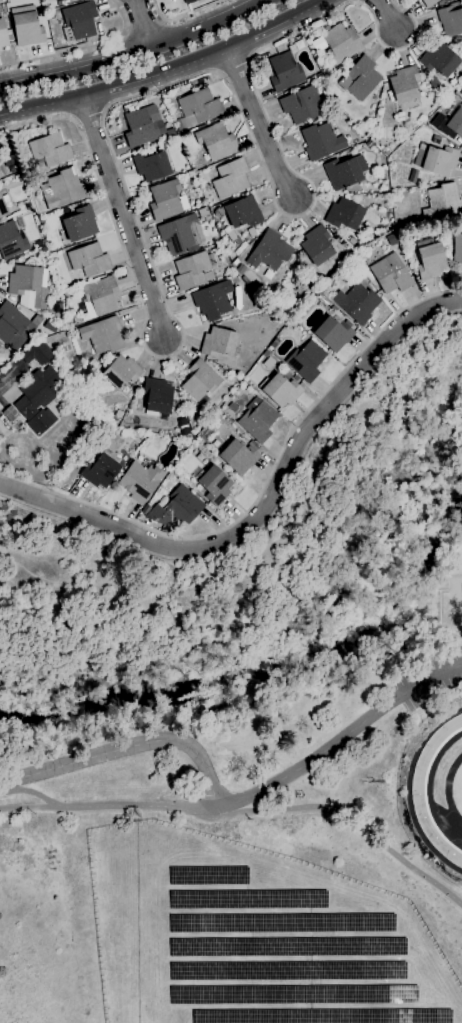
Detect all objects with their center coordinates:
building: (449, 0)
building: (452, 0)
building: (189, 1)
building: (429, 3)
building: (50, 15)
road: (181, 16)
road: (385, 16)
building: (451, 19)
building: (80, 20)
road: (143, 24)
road: (209, 26)
building: (26, 27)
building: (4, 35)
building: (458, 40)
building: (341, 43)
road: (81, 48)
building: (0, 50)
building: (440, 60)
road: (76, 68)
road: (166, 69)
building: (285, 71)
building: (362, 78)
building: (404, 85)
road: (164, 86)
building: (301, 105)
building: (197, 110)
building: (455, 123)
road: (257, 124)
building: (140, 128)
building: (435, 140)
building: (321, 141)
building: (216, 142)
building: (50, 150)
building: (436, 160)
building: (151, 166)
building: (342, 173)
building: (1, 175)
building: (413, 176)
building: (230, 178)
building: (62, 189)
building: (165, 200)
building: (442, 203)
building: (4, 205)
building: (243, 212)
building: (344, 215)
road: (125, 217)
building: (207, 218)
building: (80, 225)
building: (180, 234)
building: (392, 240)
building: (11, 241)
building: (317, 245)
building: (457, 249)
building: (269, 252)
building: (88, 260)
building: (430, 261)
building: (235, 262)
building: (362, 263)
building: (240, 270)
building: (191, 271)
building: (268, 274)
building: (391, 274)
building: (29, 286)
building: (323, 291)
building: (64, 292)
building: (100, 297)
building: (213, 300)
building: (357, 304)
building: (334, 308)
building: (274, 321)
building: (10, 322)
building: (291, 324)
building: (334, 333)
building: (102, 335)
building: (218, 343)
building: (274, 343)
building: (37, 353)
building: (266, 354)
building: (306, 361)
building: (121, 372)
road: (11, 375)
building: (234, 376)
building: (295, 378)
building: (200, 381)
building: (280, 390)
building: (157, 397)
building: (38, 400)
building: (232, 408)
building: (10, 414)
building: (257, 420)
building: (126, 433)
building: (239, 456)
building: (200, 457)
building: (100, 471)
building: (171, 477)
building: (140, 482)
building: (213, 484)
road: (262, 490)
road: (268, 507)
building: (175, 508)
river: (256, 667)
parking lot: (428, 680)
park: (246, 745)
track: (417, 791)
road: (226, 803)
road: (199, 808)
road: (29, 809)
road: (244, 811)
building: (207, 875)
building: (248, 899)
building: (280, 922)
solar farm: (252, 937)
building: (285, 946)
building: (286, 971)
building: (292, 995)
building: (321, 1016)

